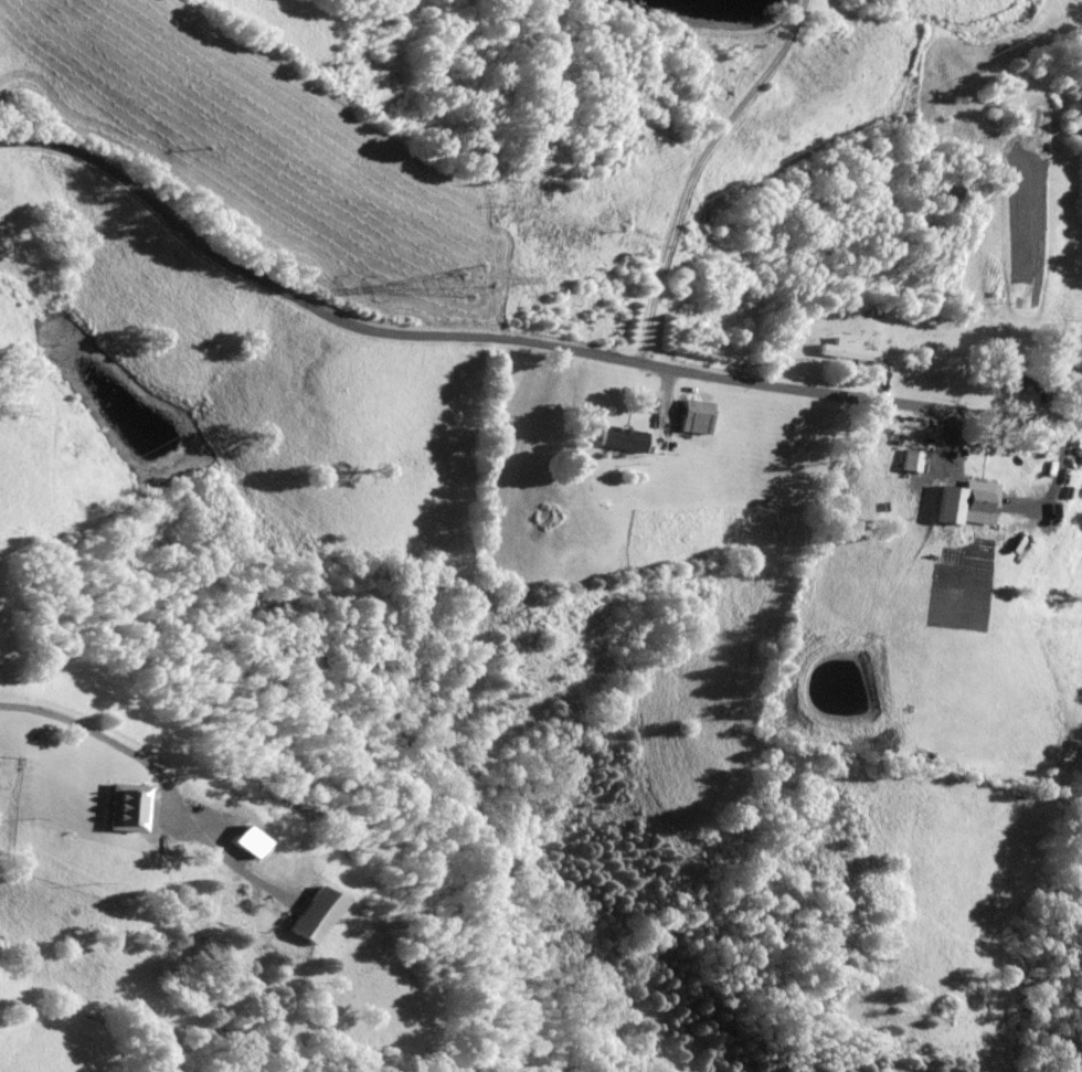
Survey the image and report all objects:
road: (689, 169)
power tower: (482, 279)
road: (518, 342)
building: (846, 350)
building: (694, 416)
building: (620, 439)
building: (911, 460)
building: (964, 502)
road: (100, 736)
building: (121, 809)
building: (241, 842)
building: (312, 915)

